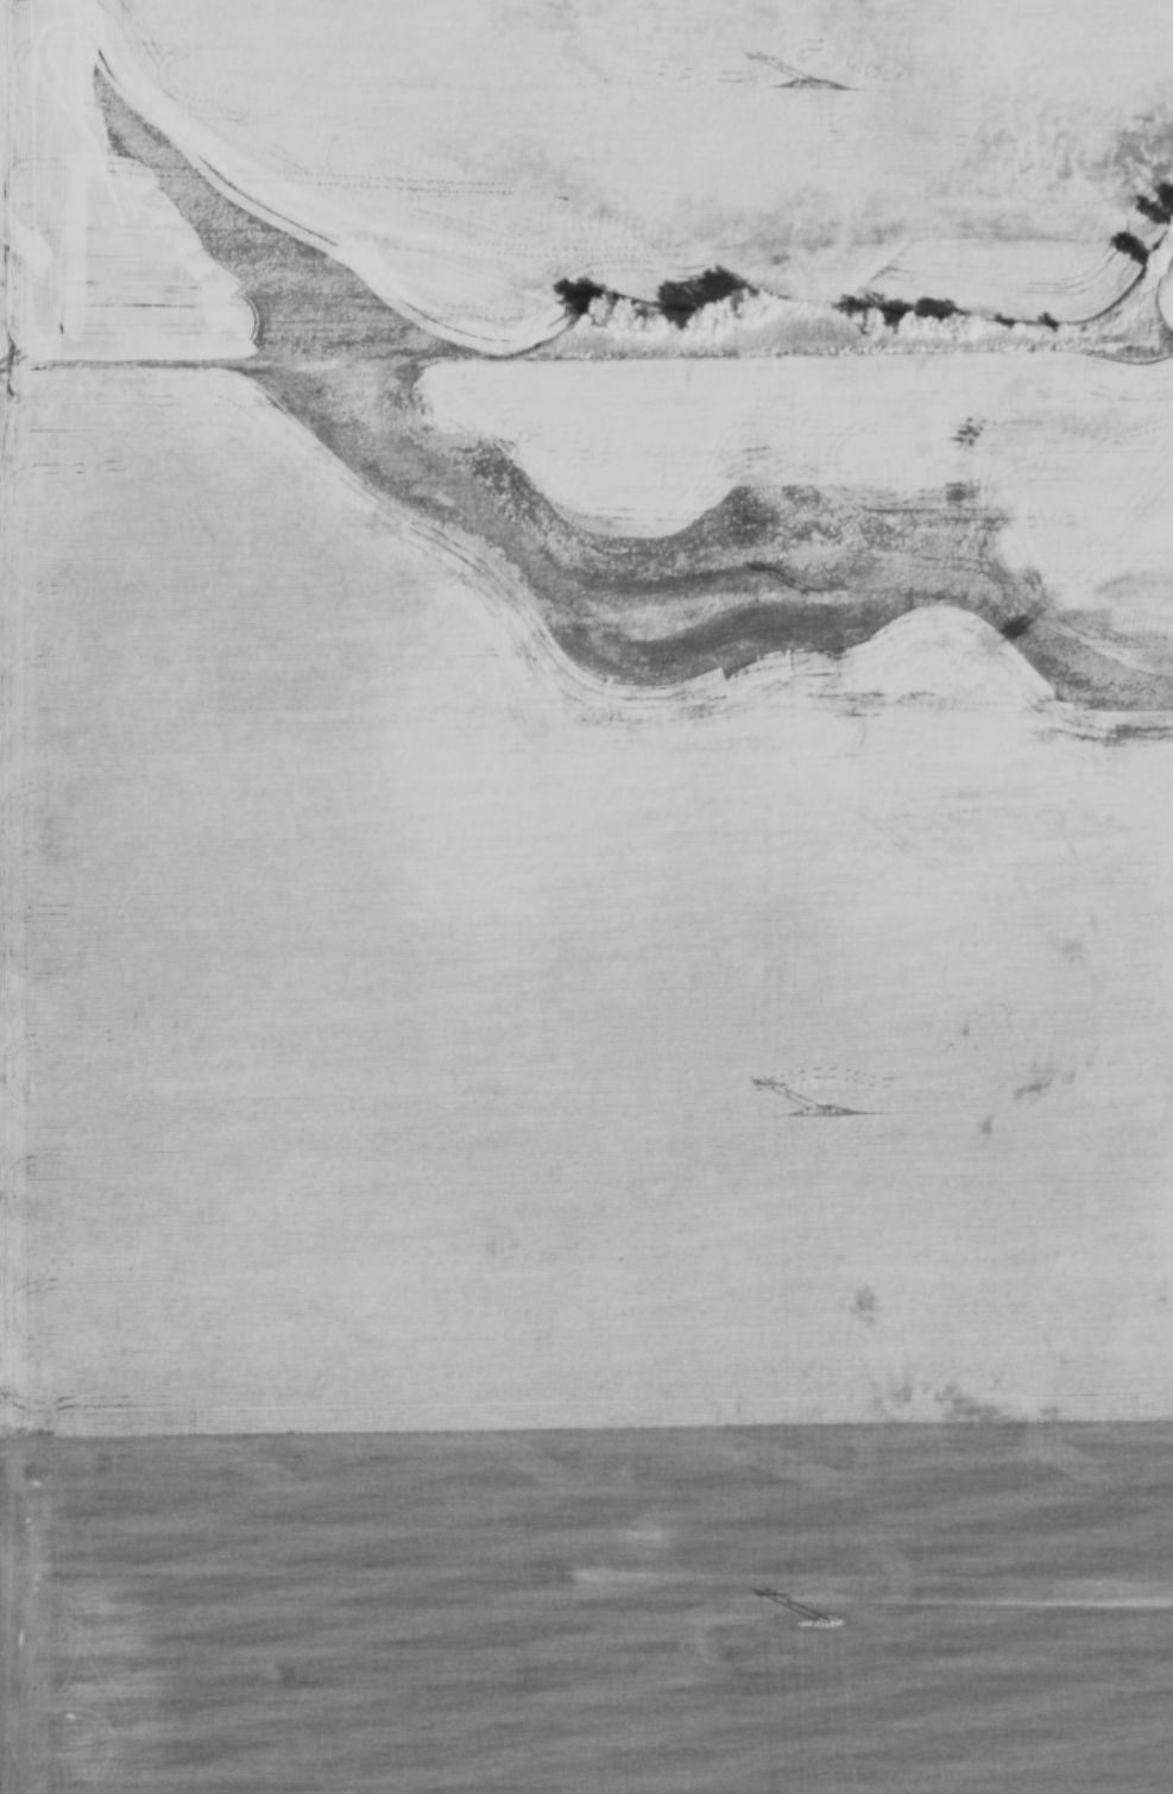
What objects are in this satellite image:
power tower: (811, 81)
power tower: (816, 592)
power tower: (818, 1110)
power tower: (821, 1619)

